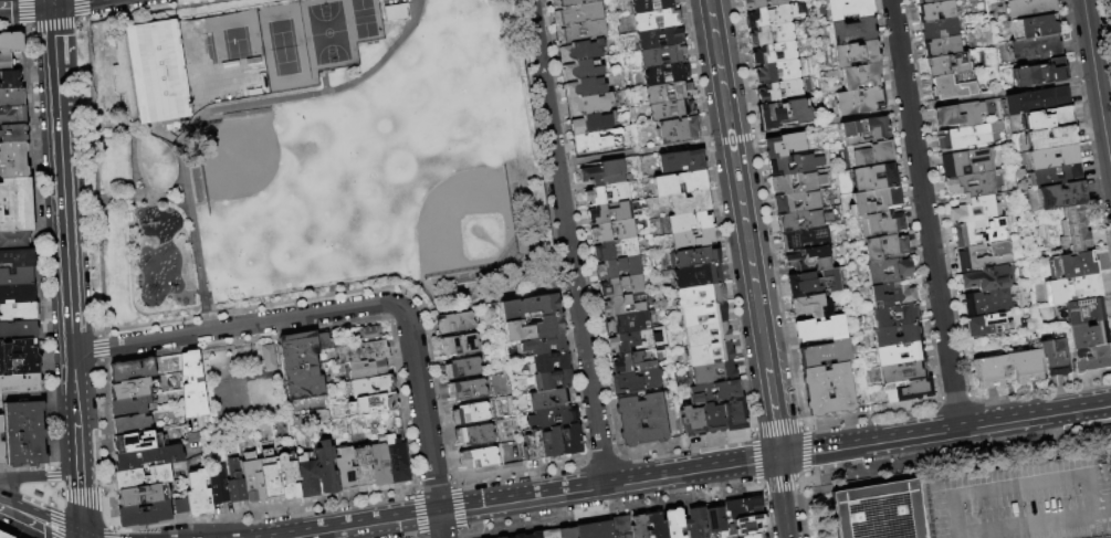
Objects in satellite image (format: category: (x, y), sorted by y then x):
road: (51, 0)
road: (55, 0)
traffic signals: (52, 1)
building: (929, 1)
building: (1015, 1)
building: (570, 2)
road: (25, 3)
building: (763, 4)
building: (652, 6)
building: (848, 9)
building: (1029, 9)
road: (84, 10)
building: (392, 10)
road: (23, 12)
building: (936, 12)
building: (578, 14)
building: (769, 17)
park: (366, 19)
building: (657, 20)
road: (84, 25)
road: (55, 27)
building: (1035, 27)
building: (939, 29)
road: (29, 30)
building: (852, 31)
building: (581, 32)
park: (331, 34)
building: (773, 35)
building: (660, 39)
building: (11, 43)
building: (942, 45)
park: (286, 48)
building: (1038, 49)
building: (579, 52)
building: (775, 54)
building: (856, 54)
park: (240, 56)
building: (662, 56)
building: (8, 62)
park: (205, 62)
building: (948, 64)
building: (581, 71)
building: (149, 72)
building: (777, 73)
building: (665, 74)
building: (1040, 74)
road: (91, 75)
road: (55, 77)
building: (860, 77)
building: (10, 80)
building: (953, 86)
road: (1097, 87)
building: (584, 88)
building: (780, 92)
building: (669, 93)
building: (12, 97)
building: (1037, 101)
building: (860, 102)
building: (590, 105)
road: (219, 108)
building: (671, 110)
building: (784, 114)
building: (13, 115)
building: (960, 115)
building: (1048, 119)
road: (824, 122)
building: (591, 124)
road: (139, 130)
building: (678, 130)
building: (866, 131)
building: (13, 133)
building: (968, 136)
building: (1052, 138)
building: (598, 141)
building: (784, 145)
building: (871, 154)
park: (315, 155)
park: (235, 157)
building: (1040, 158)
building: (13, 160)
building: (681, 161)
building: (967, 162)
road: (96, 165)
building: (795, 165)
road: (139, 169)
building: (605, 173)
building: (1052, 176)
building: (874, 178)
building: (679, 183)
road: (737, 183)
building: (798, 183)
road: (171, 187)
building: (608, 194)
building: (1057, 197)
road: (145, 198)
building: (974, 198)
building: (862, 201)
building: (690, 203)
building: (15, 205)
building: (810, 205)
building: (610, 213)
road: (924, 213)
building: (817, 222)
park: (463, 223)
building: (882, 224)
building: (1073, 229)
building: (614, 231)
building: (692, 231)
building: (963, 232)
building: (806, 240)
building: (14, 241)
road: (566, 242)
road: (38, 246)
building: (885, 247)
building: (617, 250)
road: (65, 252)
building: (1002, 256)
building: (695, 257)
building: (18, 259)
building: (808, 260)
building: (1072, 265)
building: (619, 268)
road: (102, 270)
building: (890, 272)
building: (698, 276)
building: (17, 277)
building: (986, 279)
building: (814, 283)
building: (622, 286)
building: (1075, 289)
building: (17, 295)
building: (700, 296)
building: (892, 296)
building: (987, 303)
building: (626, 305)
building: (811, 306)
building: (531, 307)
building: (19, 312)
building: (1083, 312)
building: (704, 315)
building: (895, 316)
building: (457, 324)
building: (628, 324)
road: (235, 325)
building: (989, 326)
building: (534, 329)
building: (821, 329)
building: (19, 330)
building: (366, 334)
building: (708, 335)
building: (912, 335)
building: (1088, 336)
building: (633, 341)
building: (460, 346)
building: (544, 346)
road: (102, 348)
building: (361, 354)
building: (711, 354)
building: (825, 354)
building: (900, 354)
building: (265, 356)
building: (1055, 357)
building: (19, 358)
building: (1091, 358)
building: (551, 362)
building: (631, 363)
building: (304, 365)
building: (368, 369)
building: (463, 369)
building: (133, 370)
building: (903, 372)
building: (714, 373)
building: (988, 373)
building: (553, 380)
building: (636, 381)
park: (244, 382)
building: (20, 384)
building: (192, 386)
building: (373, 387)
road: (74, 388)
building: (134, 389)
park: (216, 389)
building: (828, 390)
building: (908, 390)
building: (468, 391)
building: (714, 392)
building: (552, 400)
building: (374, 404)
building: (130, 405)
road: (774, 412)
building: (471, 414)
building: (734, 414)
building: (553, 418)
building: (713, 419)
building: (641, 420)
road: (423, 422)
building: (692, 422)
building: (133, 425)
road: (105, 429)
road: (944, 431)
building: (23, 434)
building: (475, 435)
building: (137, 442)
building: (552, 443)
building: (1, 445)
road: (76, 449)
traffic signals: (777, 457)
building: (148, 458)
building: (397, 460)
building: (479, 460)
building: (380, 463)
building: (364, 467)
building: (327, 468)
building: (346, 471)
building: (307, 475)
road: (52, 476)
building: (270, 476)
road: (39, 477)
building: (287, 477)
building: (143, 478)
building: (252, 478)
building: (235, 484)
road: (1015, 486)
building: (218, 487)
road: (59, 489)
road: (84, 493)
road: (52, 495)
building: (199, 495)
building: (143, 496)
road: (525, 497)
road: (778, 497)
road: (57, 499)
building: (1024, 500)
parking lot: (1024, 500)
road: (1103, 500)
road: (41, 502)
road: (80, 505)
building: (744, 508)
road: (1097, 509)
road: (248, 511)
building: (879, 511)
building: (145, 514)
road: (52, 515)
road: (38, 520)
building: (715, 521)
building: (673, 523)
building: (696, 524)
building: (656, 525)
building: (748, 526)
road: (53, 527)
building: (621, 527)
building: (638, 527)
road: (1031, 527)
building: (596, 530)
road: (112, 532)
building: (567, 532)
road: (53, 534)
building: (549, 534)
building: (534, 535)
building: (3, 536)
building: (518, 536)
parking lot: (1102, 536)
building: (503, 537)
building: (757, 537)

